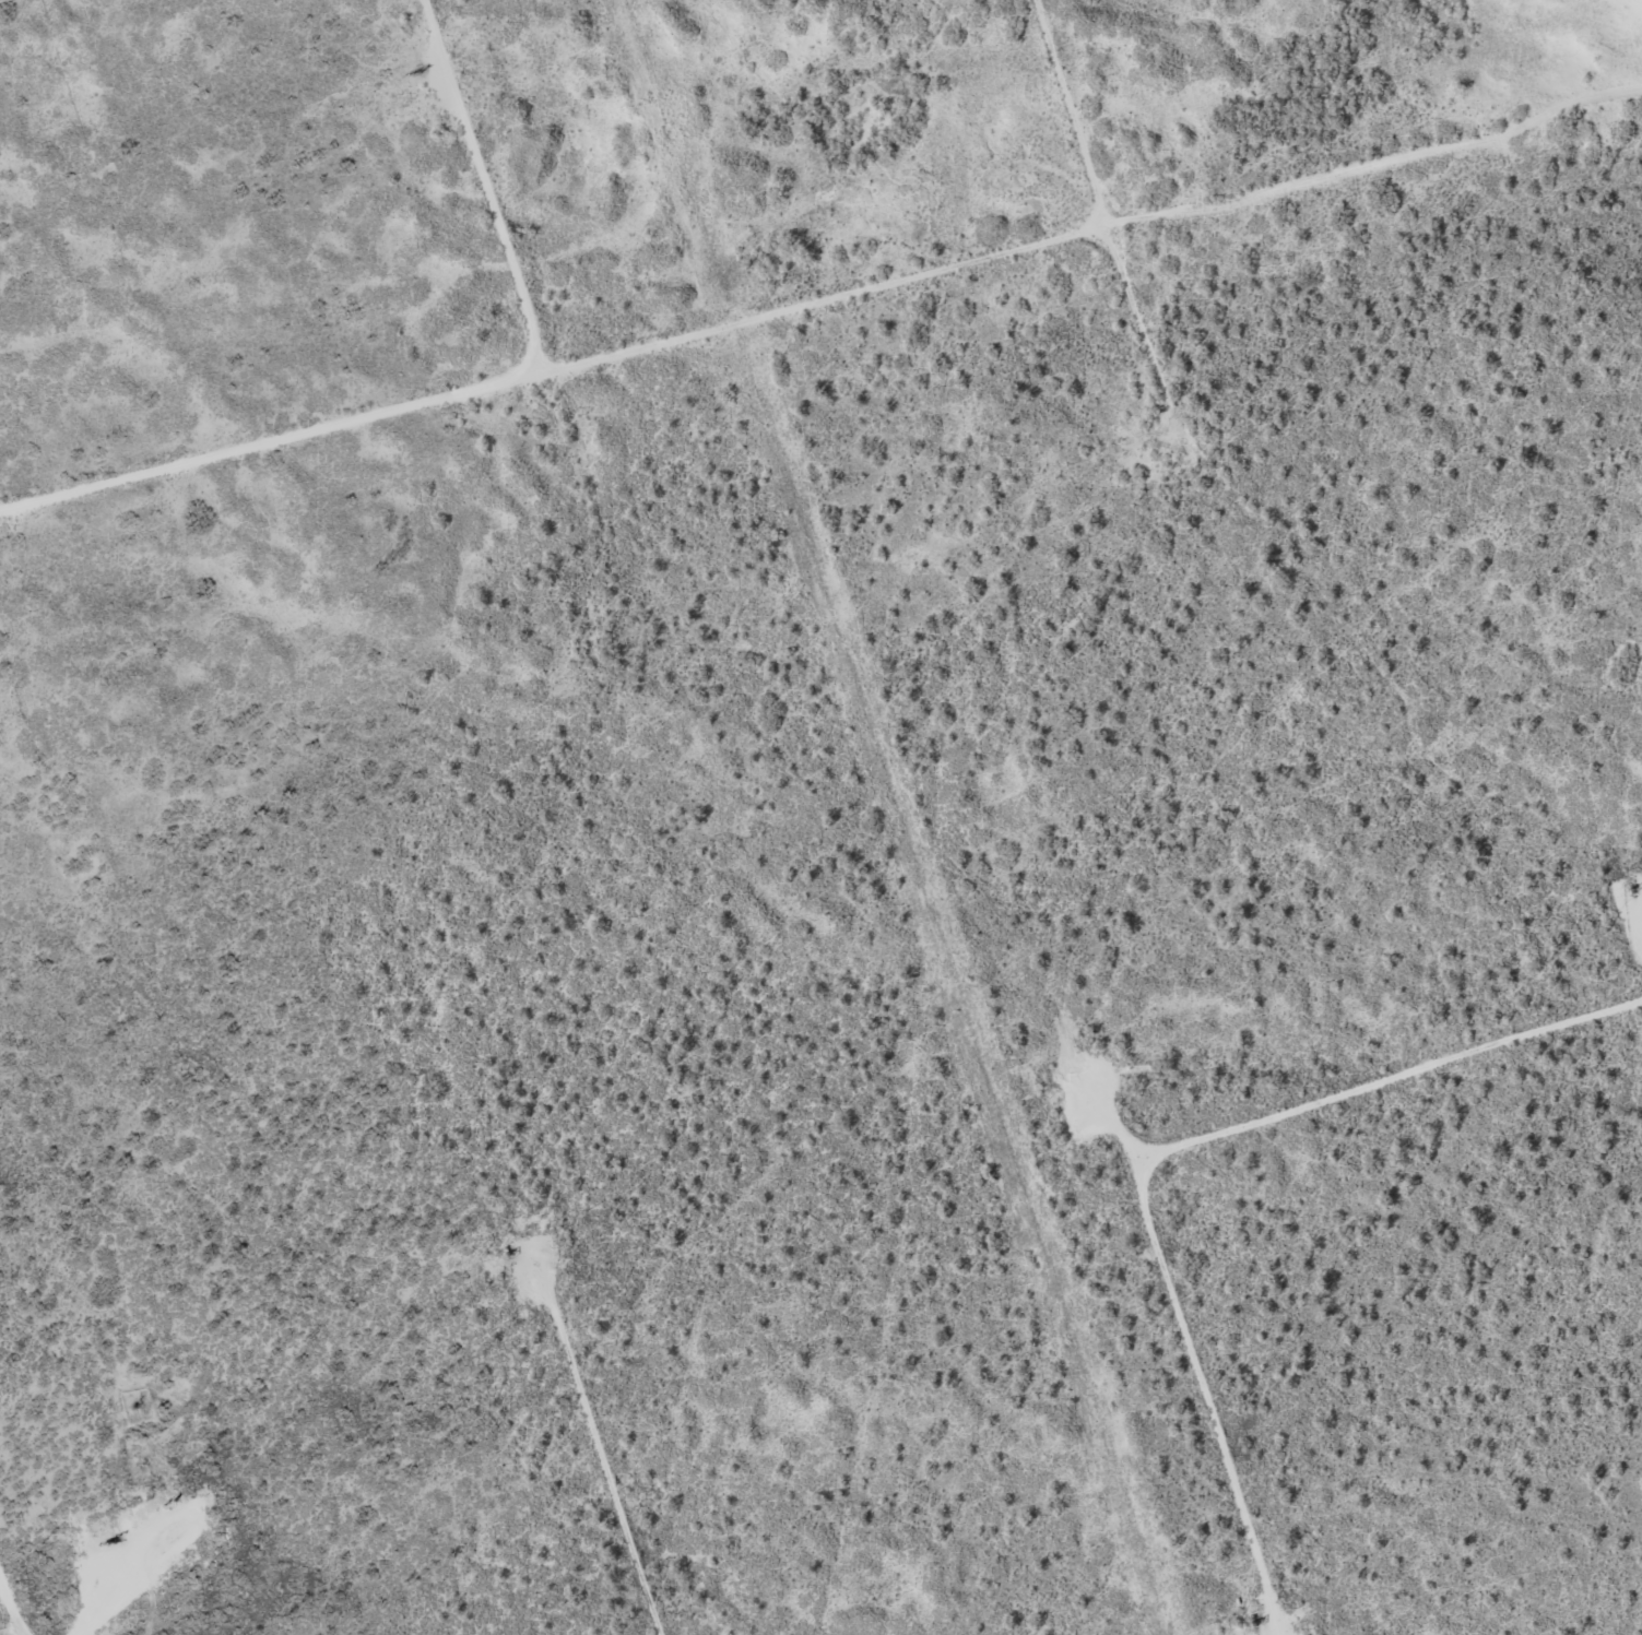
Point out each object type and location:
road: (504, 196)
road: (822, 320)
road: (1180, 1157)
road: (598, 1481)
road: (17, 1588)

